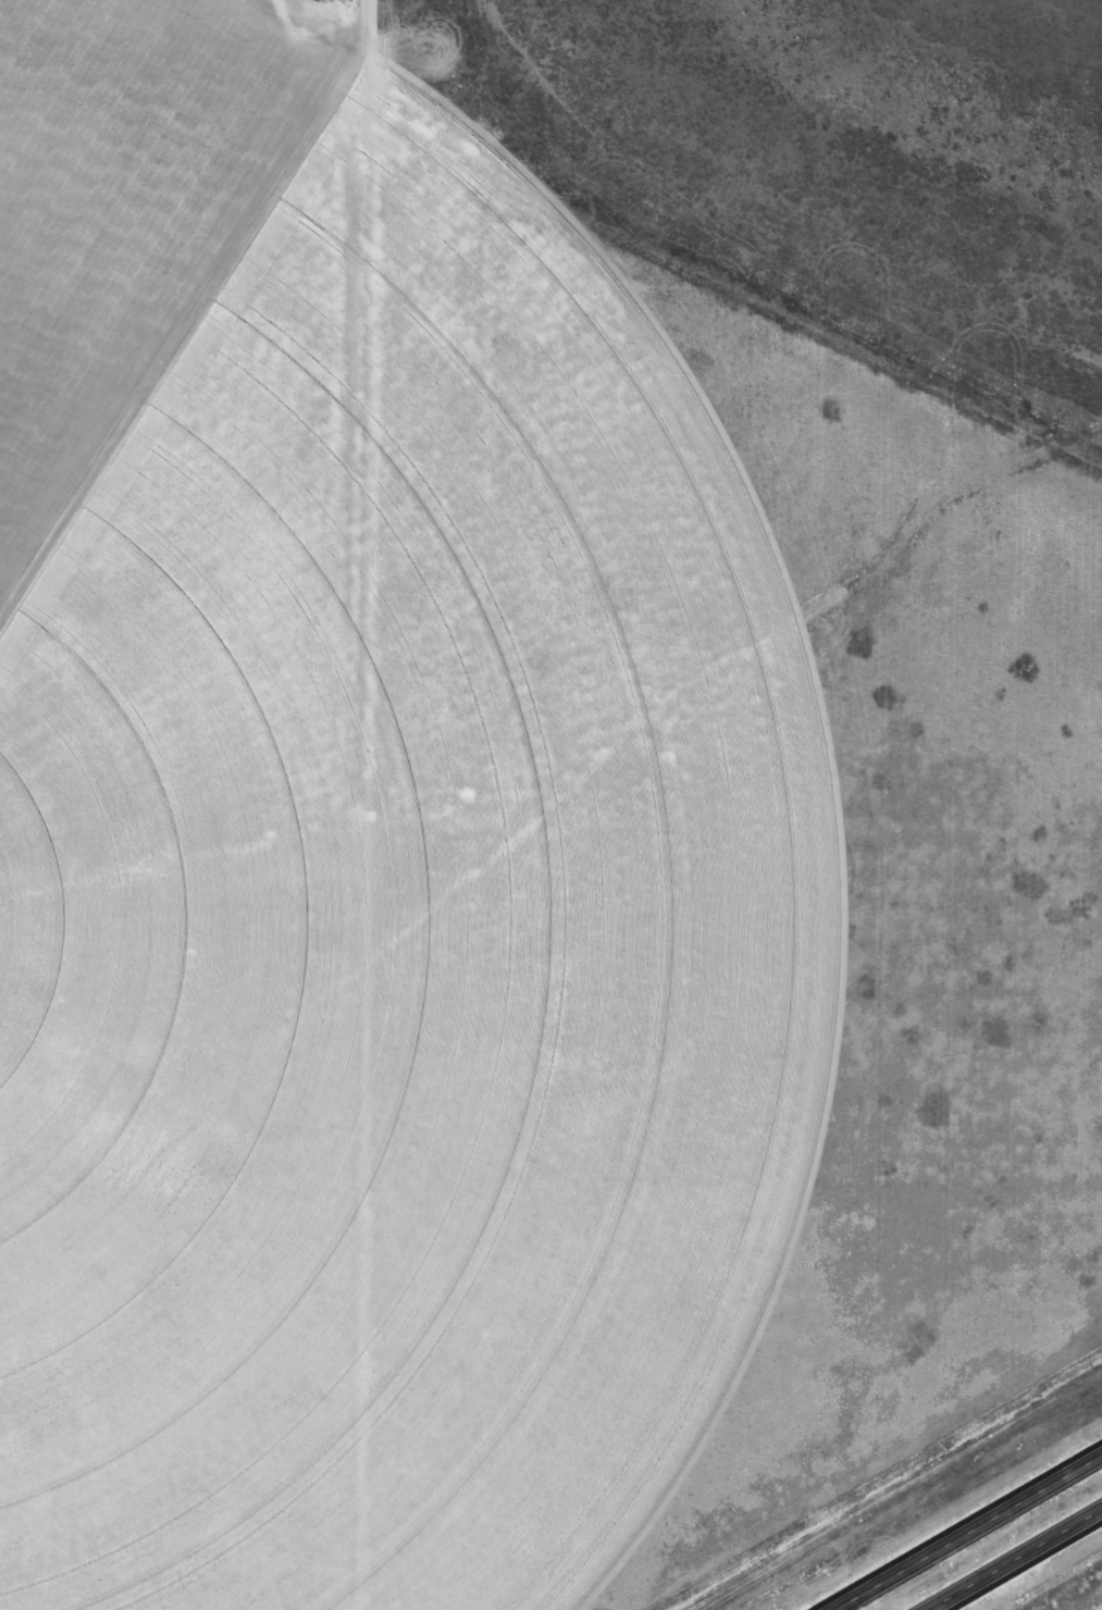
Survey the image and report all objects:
road: (966, 1531)
road: (1020, 1562)

